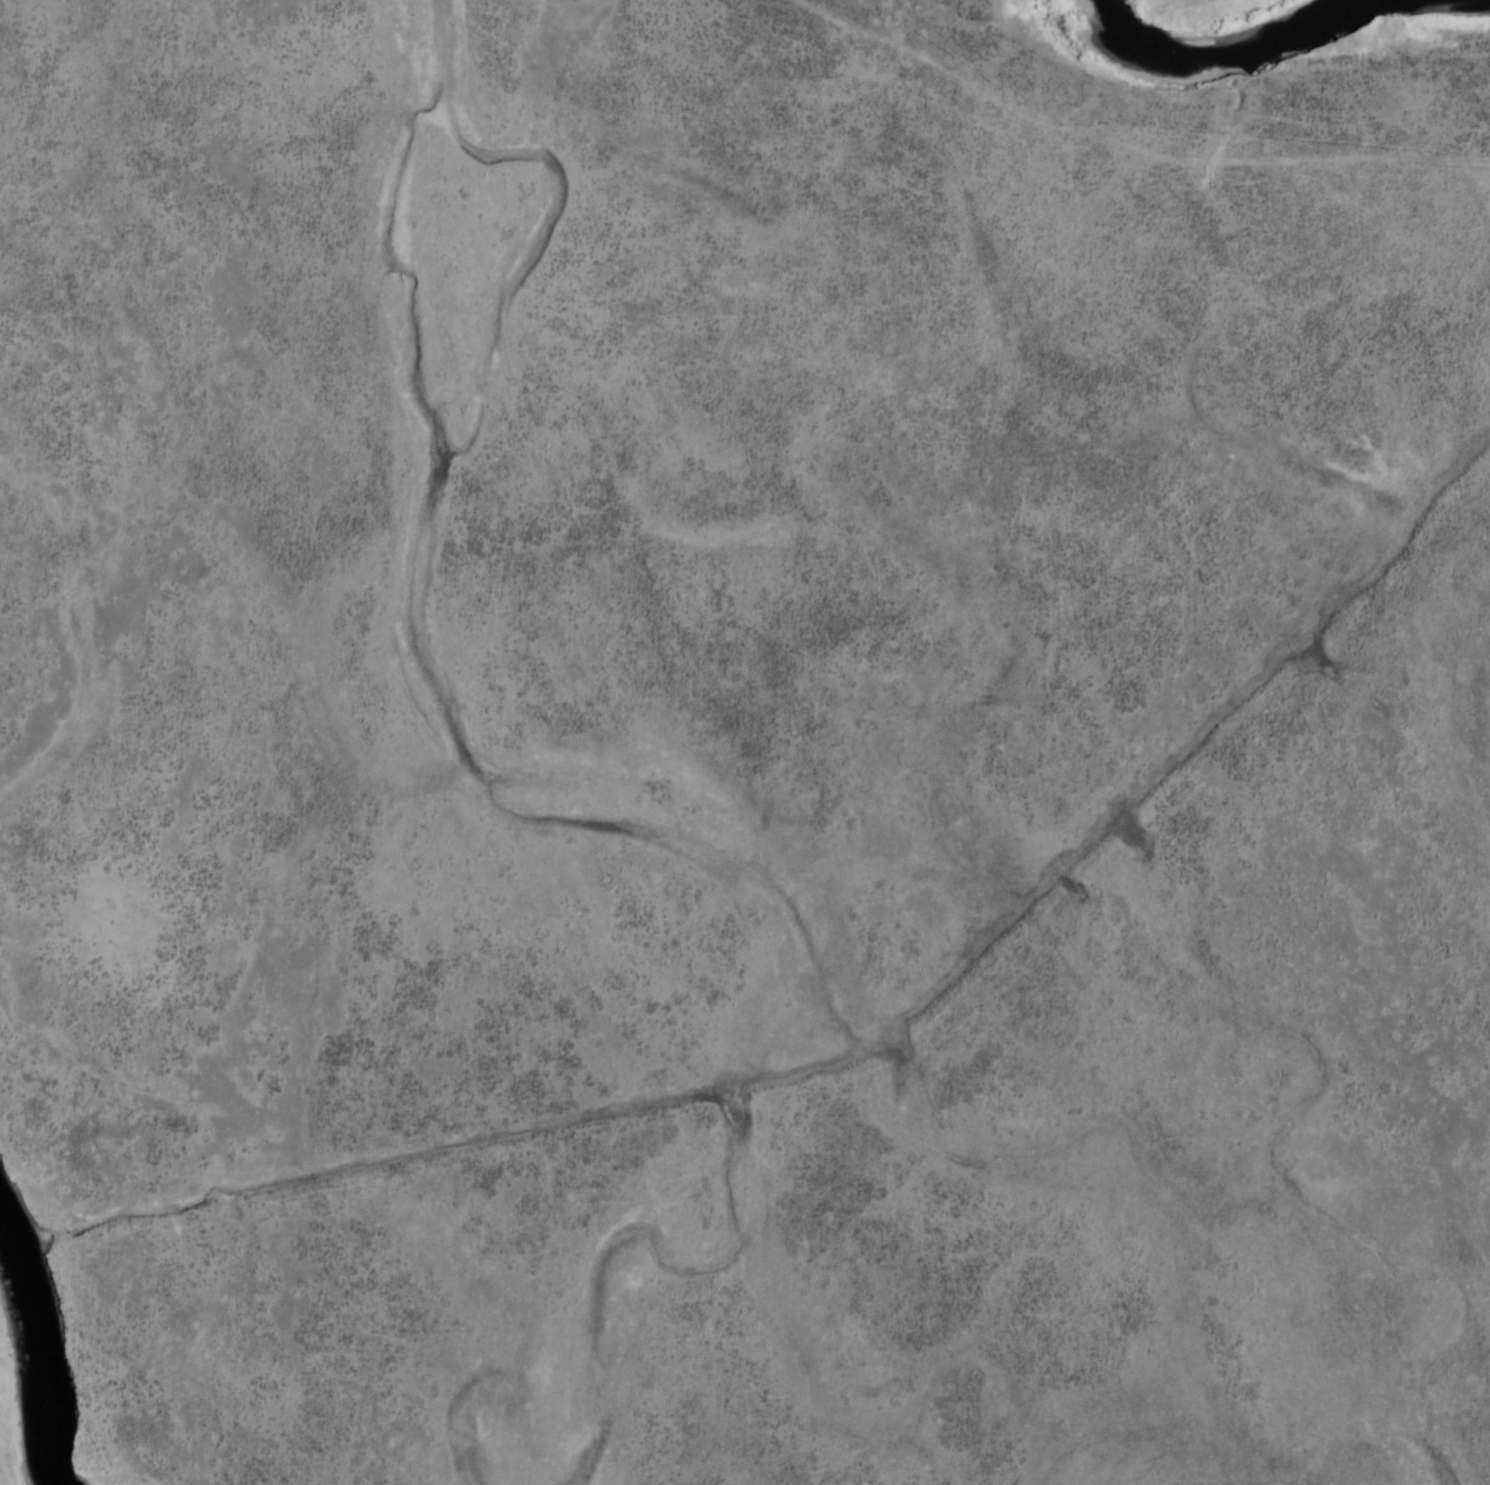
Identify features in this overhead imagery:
river: (1437, 3)
river: (1186, 52)
road: (1, 1481)

